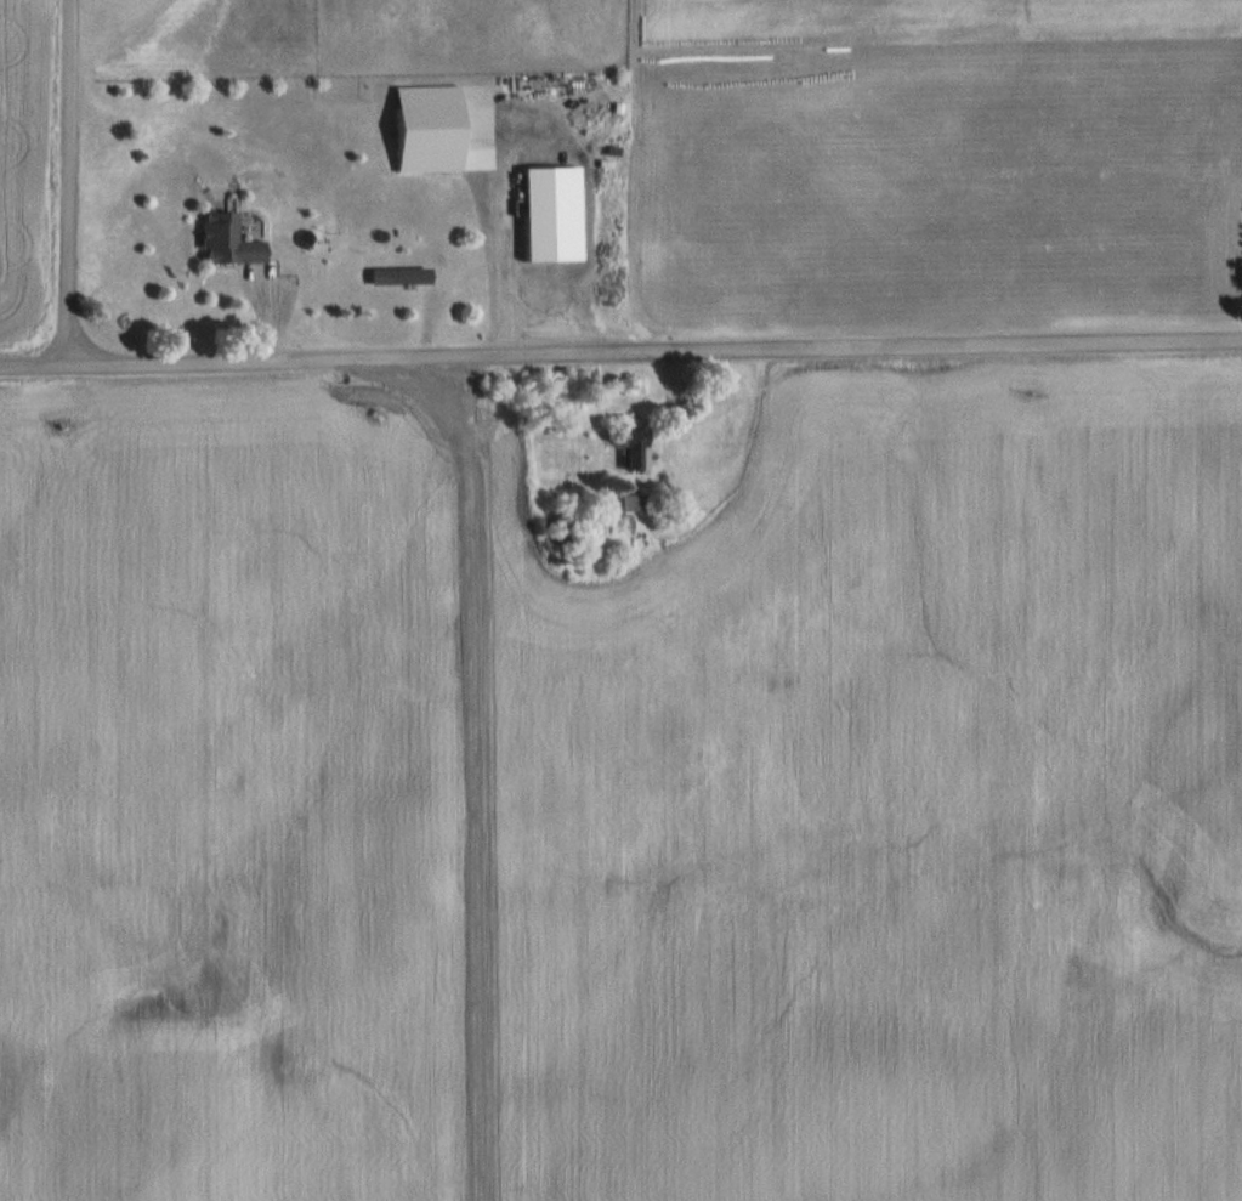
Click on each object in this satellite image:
road: (67, 186)
building: (217, 243)
building: (392, 278)
road: (620, 357)
building: (626, 452)
building: (704, 585)

